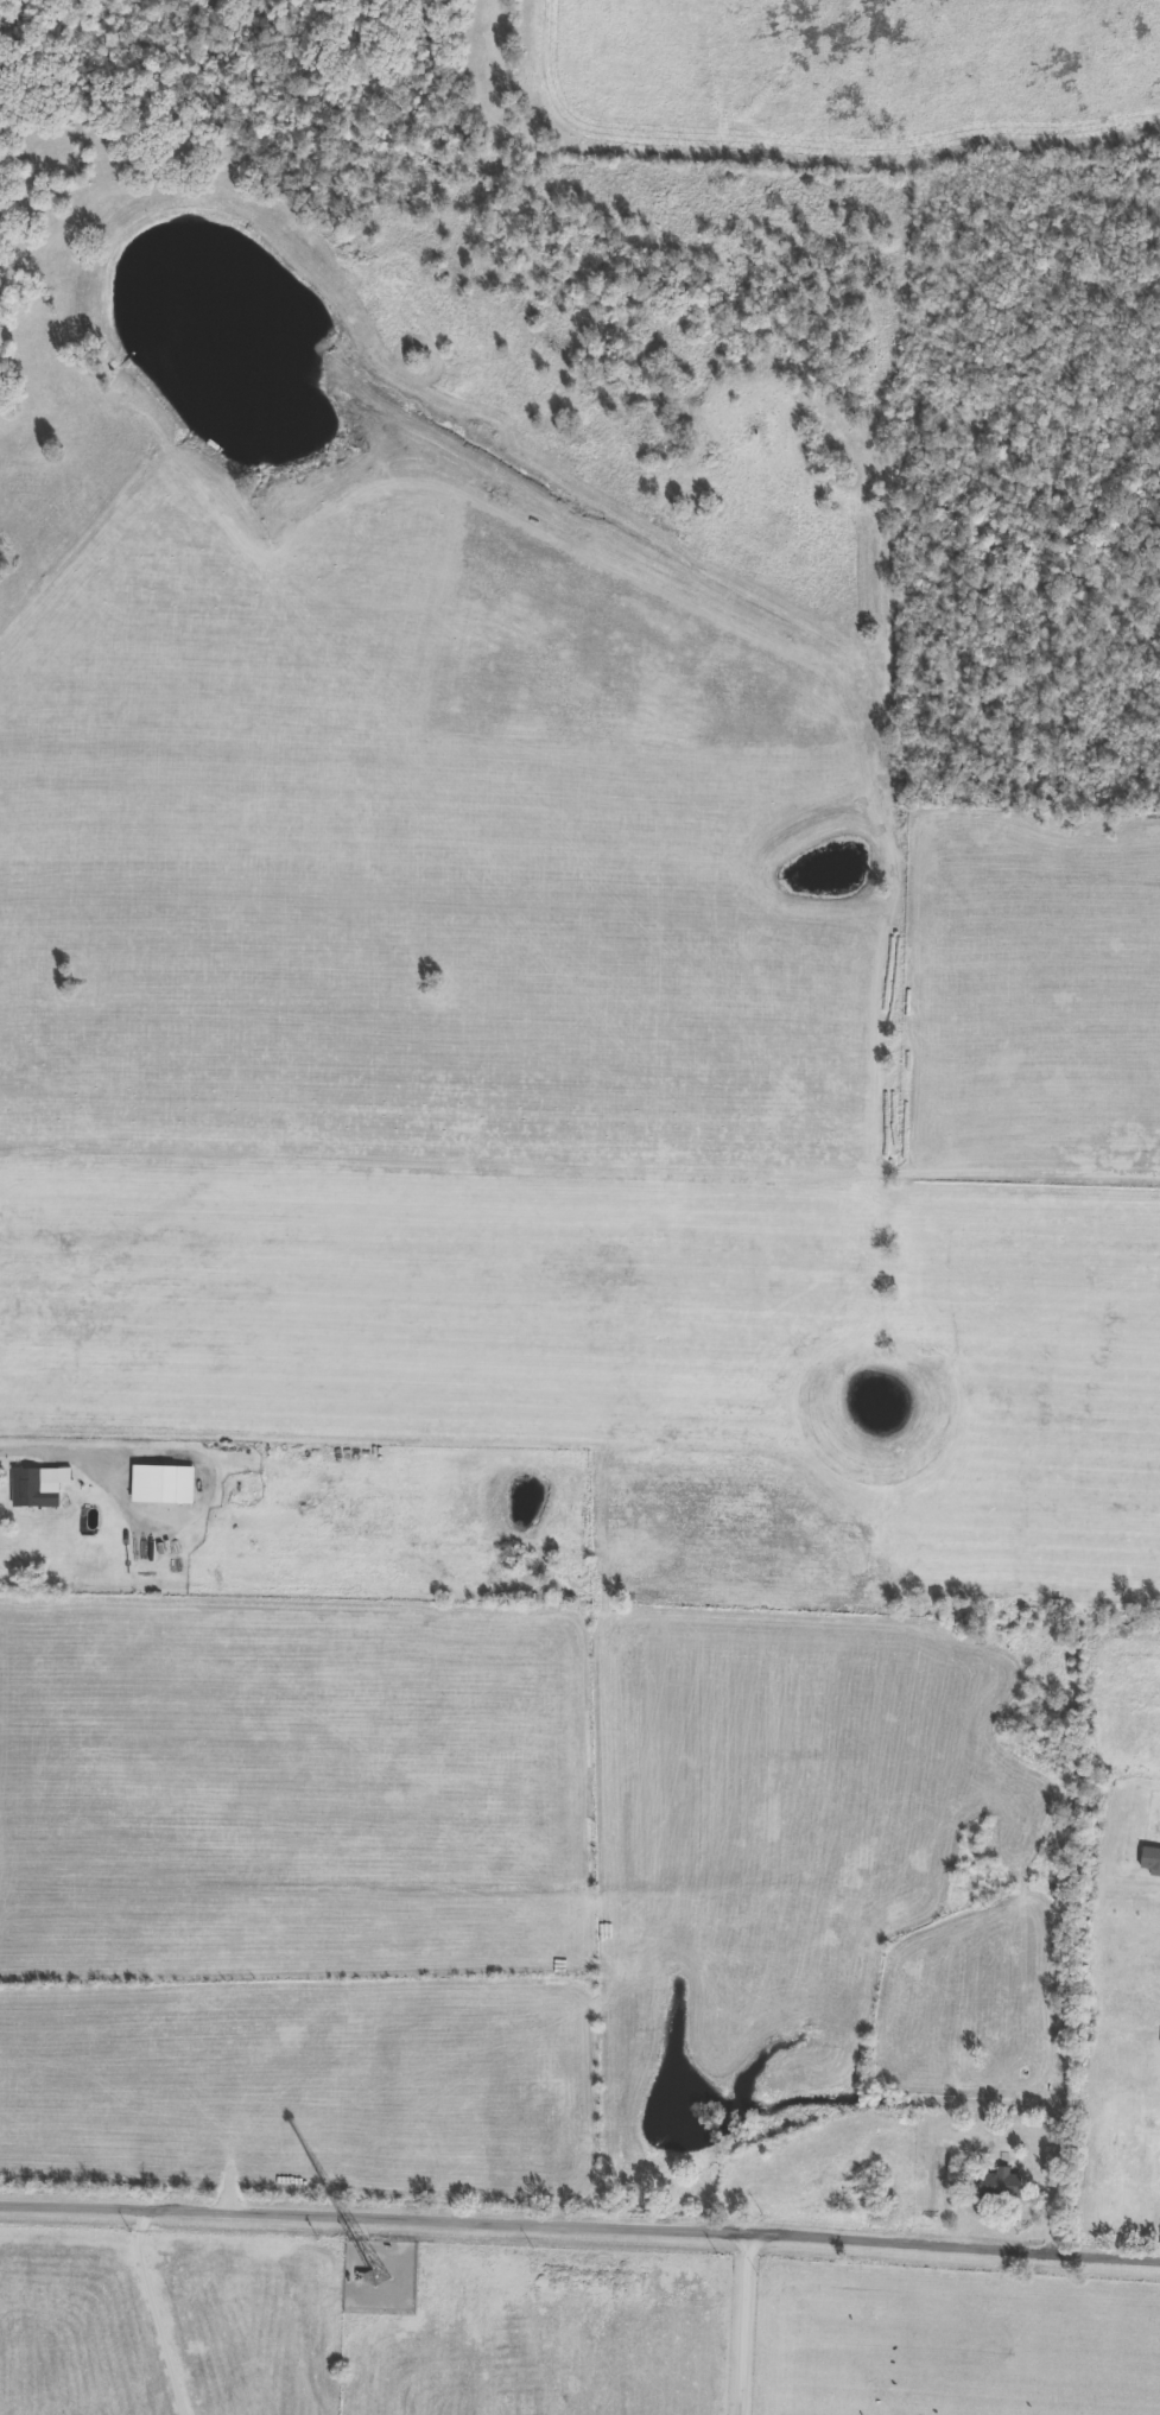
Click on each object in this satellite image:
road: (30, 1446)
building: (42, 1487)
building: (165, 1487)
building: (1151, 1861)
building: (1001, 2181)
road: (1053, 2210)
road: (579, 2227)
road: (159, 2313)
road: (750, 2322)

